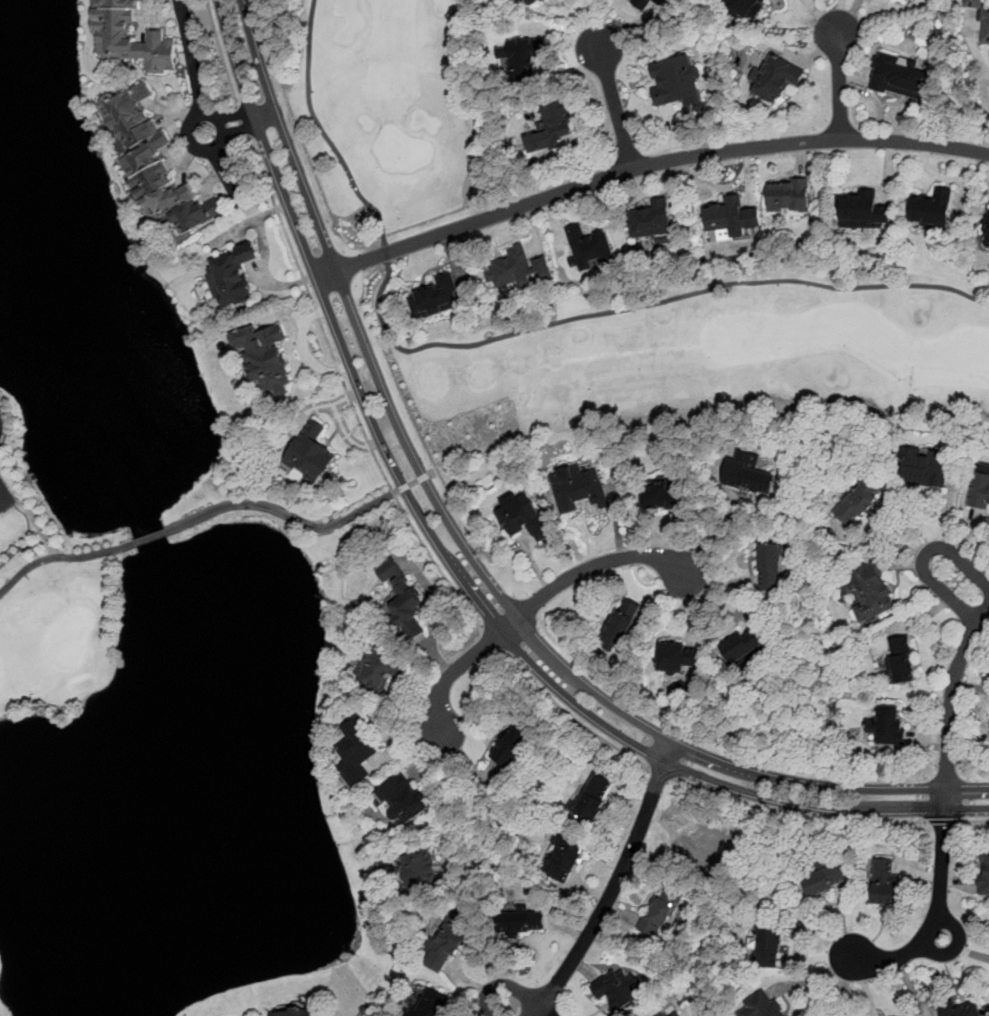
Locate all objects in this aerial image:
building: (905, 1)
building: (536, 3)
building: (643, 3)
building: (973, 4)
building: (747, 8)
building: (984, 29)
building: (129, 36)
road: (222, 53)
building: (523, 57)
road: (193, 66)
building: (898, 77)
building: (775, 78)
building: (677, 82)
road: (839, 83)
road: (615, 105)
road: (232, 116)
road: (243, 121)
road: (321, 129)
building: (551, 129)
road: (237, 131)
road: (986, 141)
building: (153, 163)
road: (223, 164)
road: (650, 164)
building: (787, 197)
building: (931, 207)
building: (856, 209)
building: (721, 217)
building: (651, 221)
building: (986, 231)
building: (590, 249)
road: (386, 253)
building: (514, 270)
building: (228, 277)
building: (436, 297)
road: (647, 305)
building: (264, 359)
road: (347, 391)
building: (311, 453)
building: (925, 466)
building: (748, 473)
building: (578, 487)
building: (979, 491)
building: (662, 493)
building: (5, 497)
park: (287, 501)
building: (859, 501)
road: (292, 517)
building: (523, 519)
road: (150, 536)
road: (61, 557)
road: (924, 558)
road: (465, 561)
road: (592, 565)
building: (770, 568)
building: (870, 590)
building: (404, 606)
building: (621, 623)
road: (491, 639)
building: (743, 647)
building: (677, 658)
building: (900, 662)
building: (379, 668)
road: (456, 670)
road: (951, 699)
road: (570, 712)
building: (888, 724)
building: (354, 747)
building: (511, 747)
road: (661, 773)
road: (460, 792)
building: (594, 797)
building: (402, 800)
road: (797, 816)
road: (974, 820)
road: (942, 821)
building: (704, 843)
building: (565, 860)
building: (418, 870)
building: (984, 870)
building: (823, 881)
building: (885, 883)
road: (611, 891)
building: (660, 913)
road: (939, 918)
building: (524, 921)
building: (768, 945)
building: (445, 946)
road: (501, 985)
road: (847, 985)
building: (618, 992)
building: (434, 1002)
building: (762, 1007)
building: (957, 1009)
building: (292, 1012)
road: (542, 1012)
building: (665, 1014)
building: (676, 1014)

